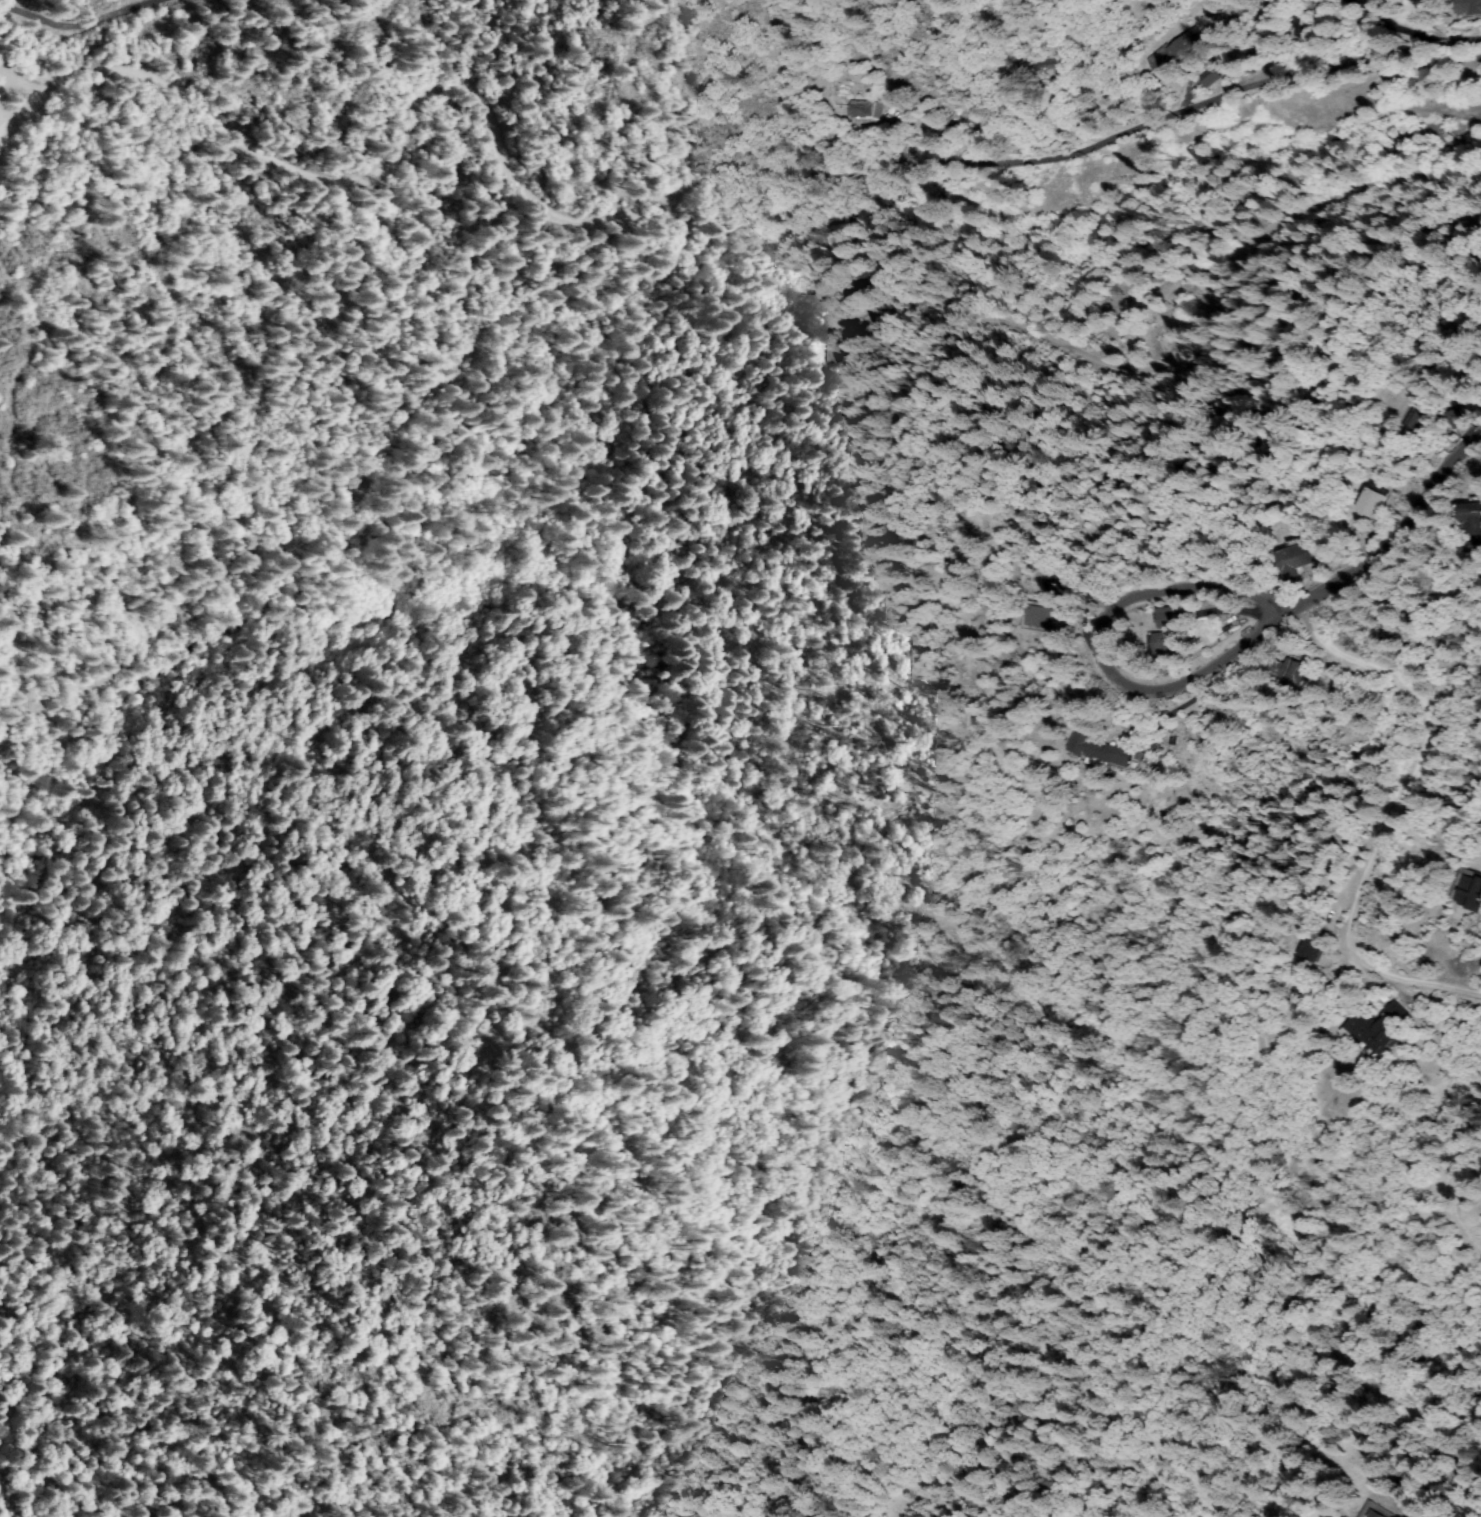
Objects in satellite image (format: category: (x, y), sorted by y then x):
building: (1383, 0)
building: (1469, 8)
building: (1271, 11)
building: (1302, 27)
building: (1176, 52)
building: (1049, 68)
building: (1212, 77)
building: (865, 110)
road: (661, 211)
building: (868, 283)
building: (1459, 419)
building: (1418, 425)
building: (1371, 502)
building: (1474, 518)
road: (1407, 522)
building: (1472, 546)
building: (1294, 560)
road: (1303, 604)
building: (1041, 617)
building: (1168, 619)
building: (1169, 644)
road: (1101, 650)
building: (1289, 672)
building: (1100, 753)
road: (1388, 820)
building: (1471, 893)
building: (1311, 950)
building: (1395, 1013)
building: (1374, 1033)
building: (1374, 1515)

